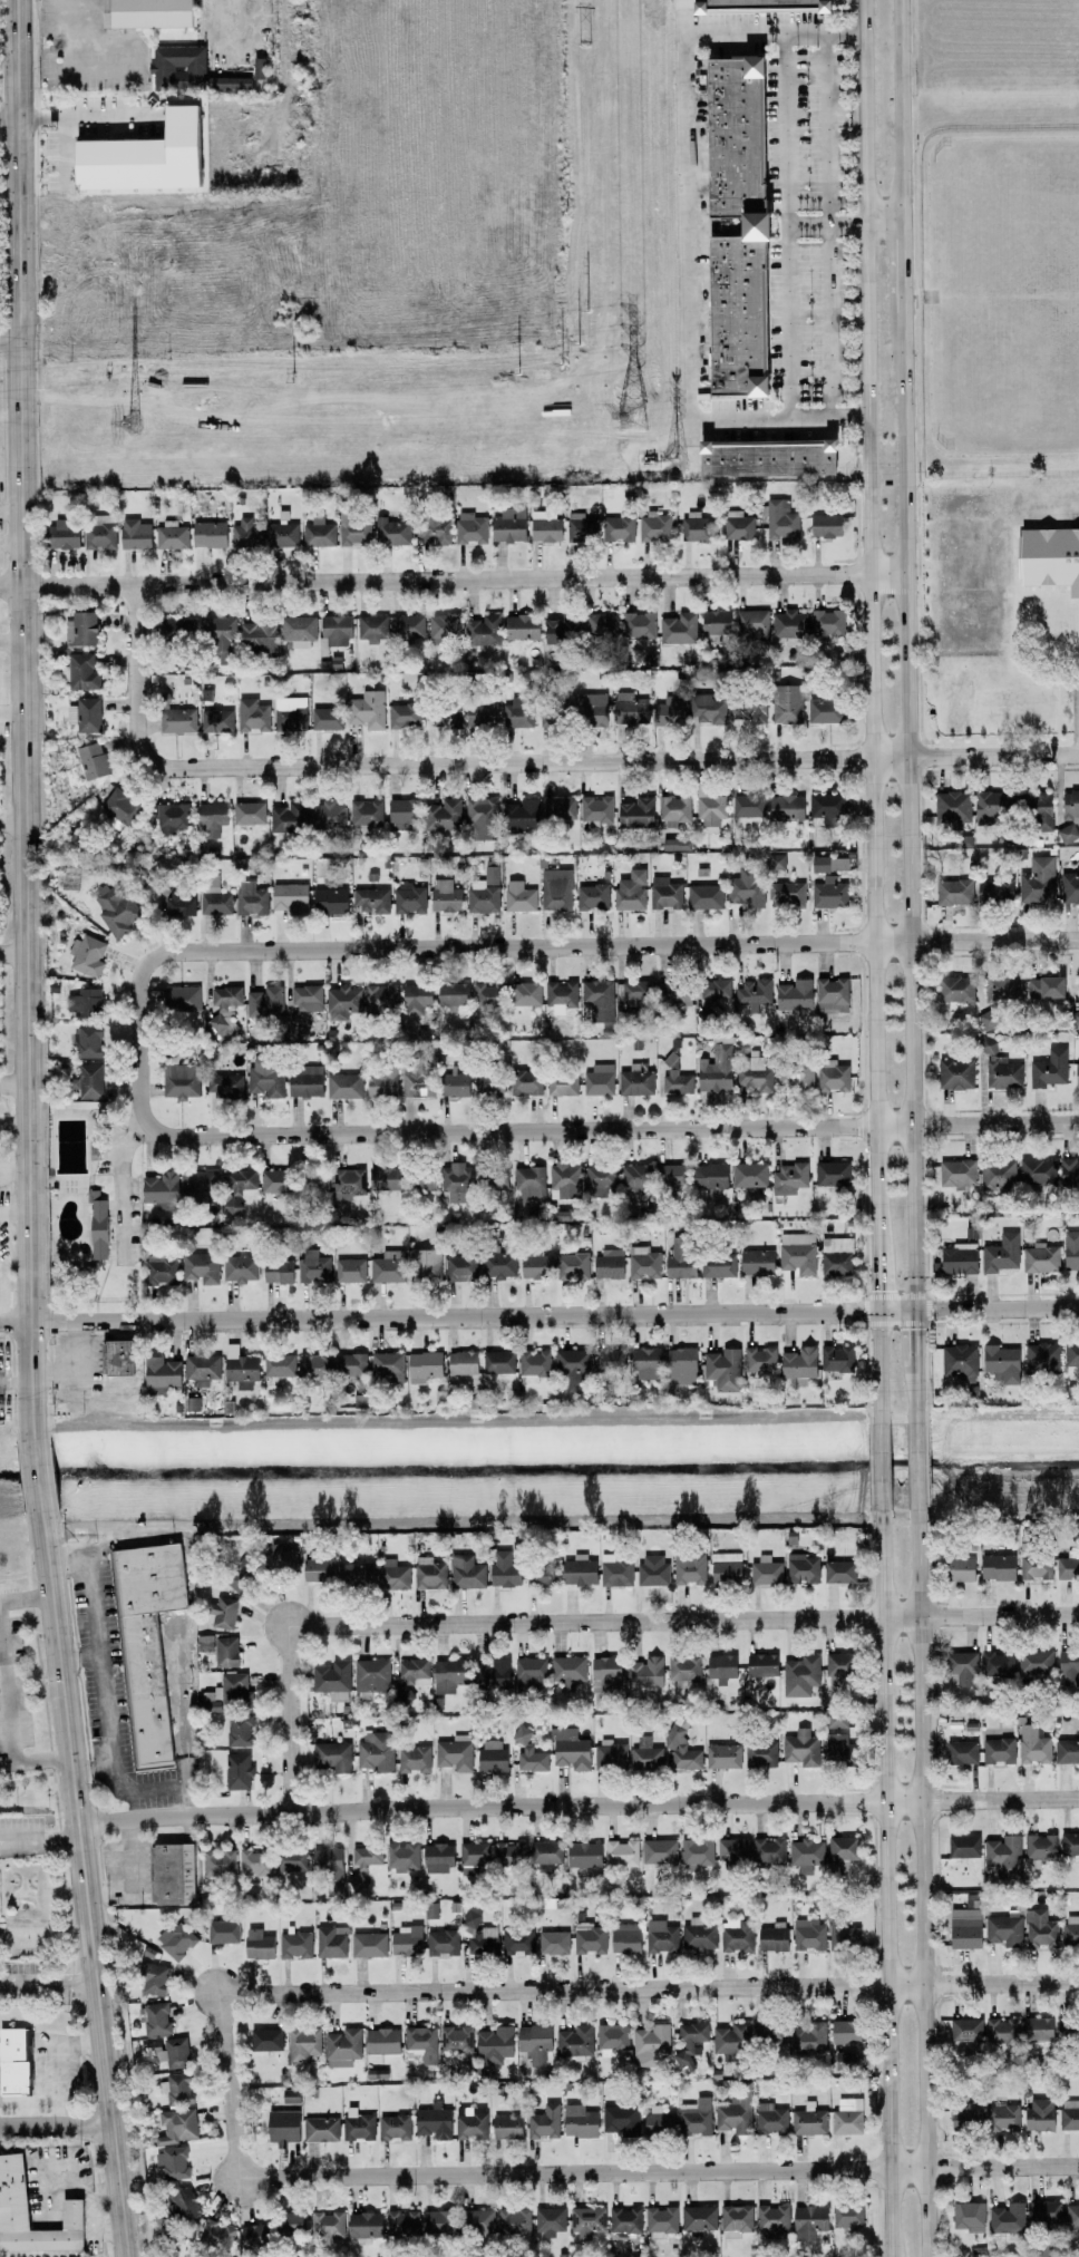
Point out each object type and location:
building: (761, 6)
building: (148, 13)
road: (61, 18)
power tower: (582, 42)
building: (178, 67)
building: (259, 67)
building: (229, 81)
road: (780, 87)
road: (901, 111)
road: (87, 116)
road: (9, 118)
road: (992, 124)
building: (124, 160)
road: (684, 178)
road: (825, 224)
road: (884, 224)
road: (903, 267)
road: (926, 295)
road: (786, 331)
road: (10, 343)
power tower: (586, 371)
power tower: (292, 380)
road: (916, 382)
power tower: (632, 414)
road: (828, 418)
power tower: (130, 424)
road: (650, 445)
power tower: (677, 456)
building: (768, 458)
building: (781, 521)
building: (509, 525)
building: (738, 525)
building: (826, 525)
building: (545, 526)
building: (431, 527)
building: (655, 527)
building: (696, 527)
building: (354, 528)
building: (470, 528)
building: (582, 528)
building: (619, 528)
building: (100, 532)
building: (319, 532)
building: (392, 532)
building: (246, 533)
building: (64, 534)
building: (135, 534)
building: (210, 534)
building: (283, 535)
building: (171, 536)
building: (1051, 557)
road: (888, 572)
road: (435, 578)
road: (892, 590)
road: (916, 591)
building: (827, 623)
building: (639, 624)
building: (716, 624)
building: (752, 624)
building: (790, 624)
road: (871, 624)
building: (601, 625)
building: (523, 626)
building: (81, 628)
building: (299, 628)
building: (371, 628)
building: (444, 628)
building: (562, 629)
building: (679, 629)
building: (177, 630)
building: (337, 630)
building: (406, 630)
building: (484, 631)
building: (259, 636)
building: (222, 639)
building: (82, 672)
building: (206, 694)
building: (787, 703)
building: (592, 708)
building: (630, 709)
building: (704, 709)
building: (367, 710)
building: (480, 710)
building: (518, 710)
building: (670, 710)
building: (826, 710)
building: (554, 712)
building: (749, 712)
building: (290, 713)
building: (85, 714)
building: (252, 714)
building: (445, 714)
building: (402, 716)
road: (23, 719)
building: (327, 719)
building: (177, 720)
building: (217, 720)
road: (923, 748)
building: (93, 760)
road: (526, 761)
building: (120, 806)
building: (748, 806)
building: (1070, 806)
building: (786, 807)
building: (988, 807)
building: (596, 808)
building: (674, 808)
building: (952, 808)
building: (826, 809)
road: (906, 809)
building: (1038, 809)
building: (558, 810)
building: (711, 810)
building: (249, 813)
building: (366, 813)
building: (402, 813)
building: (636, 813)
building: (522, 814)
building: (328, 815)
building: (443, 815)
building: (171, 817)
building: (212, 817)
building: (289, 817)
building: (483, 817)
road: (12, 823)
building: (674, 844)
building: (776, 862)
building: (829, 864)
building: (1038, 881)
building: (746, 887)
building: (1069, 887)
building: (995, 888)
building: (556, 889)
building: (485, 891)
building: (631, 891)
building: (954, 892)
building: (665, 893)
building: (786, 893)
building: (829, 893)
building: (704, 894)
building: (446, 896)
building: (518, 896)
building: (593, 896)
building: (291, 897)
building: (251, 898)
building: (410, 898)
building: (215, 899)
building: (371, 899)
building: (330, 901)
building: (178, 904)
building: (115, 908)
road: (585, 946)
road: (13, 954)
building: (88, 955)
building: (1046, 986)
building: (1002, 988)
building: (955, 989)
building: (715, 991)
building: (635, 992)
building: (453, 993)
building: (526, 993)
building: (675, 993)
building: (754, 993)
building: (795, 994)
building: (832, 994)
building: (489, 995)
building: (561, 995)
building: (416, 998)
building: (182, 999)
building: (381, 1000)
building: (596, 1001)
building: (86, 1002)
building: (342, 1002)
building: (265, 1003)
building: (304, 1003)
building: (224, 1010)
building: (1075, 1018)
building: (989, 1019)
building: (89, 1041)
building: (988, 1044)
building: (717, 1068)
building: (1049, 1068)
building: (1077, 1071)
building: (795, 1073)
building: (955, 1073)
building: (754, 1074)
building: (1004, 1074)
building: (833, 1076)
building: (265, 1078)
building: (417, 1078)
building: (675, 1078)
building: (600, 1079)
building: (90, 1080)
building: (181, 1080)
building: (305, 1080)
building: (636, 1080)
building: (383, 1082)
building: (455, 1082)
building: (526, 1082)
building: (489, 1083)
building: (563, 1083)
road: (13, 1084)
building: (225, 1086)
building: (344, 1086)
road: (558, 1129)
building: (1069, 1171)
building: (833, 1173)
building: (958, 1173)
building: (1038, 1173)
building: (672, 1175)
building: (749, 1175)
building: (998, 1175)
building: (636, 1176)
building: (710, 1176)
building: (789, 1177)
building: (385, 1178)
building: (420, 1179)
building: (493, 1179)
building: (600, 1179)
building: (276, 1180)
building: (311, 1180)
building: (349, 1180)
building: (564, 1180)
building: (200, 1181)
building: (529, 1181)
building: (457, 1183)
building: (237, 1187)
building: (161, 1189)
building: (98, 1226)
building: (832, 1245)
building: (1071, 1251)
building: (798, 1253)
building: (1002, 1254)
building: (680, 1257)
building: (1041, 1257)
building: (959, 1258)
building: (757, 1262)
building: (536, 1263)
building: (643, 1263)
building: (609, 1264)
building: (836, 1264)
building: (425, 1265)
building: (572, 1265)
building: (718, 1265)
building: (388, 1266)
building: (200, 1267)
building: (313, 1267)
building: (241, 1268)
building: (461, 1268)
building: (162, 1269)
building: (350, 1269)
building: (278, 1272)
road: (876, 1280)
road: (539, 1314)
road: (913, 1337)
building: (1071, 1353)
building: (117, 1358)
building: (1042, 1358)
building: (837, 1359)
building: (760, 1360)
building: (610, 1361)
building: (463, 1362)
building: (498, 1362)
building: (534, 1362)
building: (960, 1362)
building: (645, 1363)
building: (799, 1363)
building: (1002, 1363)
building: (279, 1364)
building: (351, 1364)
building: (315, 1365)
building: (681, 1365)
building: (387, 1366)
building: (424, 1366)
building: (573, 1366)
road: (877, 1366)
building: (241, 1368)
building: (202, 1369)
building: (723, 1369)
building: (161, 1374)
road: (915, 1394)
building: (192, 1403)
road: (877, 1468)
road: (915, 1468)
road: (37, 1477)
building: (281, 1558)
building: (998, 1566)
building: (1036, 1566)
building: (689, 1567)
building: (726, 1567)
building: (1067, 1567)
building: (803, 1568)
building: (319, 1569)
building: (504, 1569)
building: (961, 1569)
building: (579, 1570)
building: (615, 1570)
building: (653, 1570)
building: (766, 1570)
building: (467, 1572)
building: (839, 1572)
building: (242, 1573)
building: (430, 1574)
road: (26, 1575)
building: (357, 1575)
building: (393, 1575)
building: (541, 1575)
road: (27, 1598)
building: (224, 1613)
road: (591, 1621)
building: (147, 1641)
building: (205, 1642)
road: (96, 1643)
building: (226, 1651)
road: (80, 1658)
building: (1036, 1662)
building: (762, 1664)
building: (998, 1664)
building: (721, 1666)
building: (838, 1666)
building: (961, 1666)
building: (1069, 1666)
building: (684, 1667)
building: (412, 1670)
building: (567, 1671)
building: (531, 1672)
building: (607, 1672)
building: (645, 1673)
building: (449, 1674)
building: (492, 1674)
building: (372, 1675)
building: (800, 1675)
building: (332, 1680)
park: (18, 1691)
building: (405, 1692)
building: (229, 1694)
building: (837, 1720)
building: (240, 1730)
building: (521, 1735)
building: (1033, 1744)
building: (570, 1748)
building: (800, 1748)
building: (681, 1749)
building: (839, 1750)
building: (998, 1750)
building: (377, 1751)
building: (1067, 1751)
building: (455, 1752)
building: (962, 1752)
building: (610, 1753)
building: (760, 1753)
building: (647, 1754)
building: (492, 1755)
building: (723, 1755)
building: (331, 1757)
road: (7, 1758)
building: (414, 1759)
building: (532, 1759)
building: (237, 1770)
road: (37, 1776)
road: (127, 1788)
road: (580, 1808)
road: (41, 1840)
building: (1069, 1843)
building: (963, 1846)
building: (1041, 1847)
building: (843, 1848)
building: (732, 1849)
building: (768, 1850)
building: (659, 1851)
building: (697, 1851)
building: (622, 1852)
building: (511, 1854)
building: (584, 1854)
building: (546, 1855)
building: (806, 1855)
building: (367, 1856)
building: (402, 1856)
building: (1004, 1856)
building: (438, 1857)
building: (474, 1857)
building: (291, 1860)
building: (218, 1862)
building: (255, 1862)
building: (329, 1864)
road: (885, 1868)
building: (172, 1874)
building: (357, 1880)
road: (921, 1884)
road: (88, 1885)
building: (431, 1910)
building: (965, 1928)
building: (1003, 1929)
building: (1040, 1929)
building: (1070, 1930)
building: (223, 1932)
building: (737, 1934)
building: (808, 1934)
building: (479, 1935)
building: (699, 1935)
building: (661, 1936)
building: (843, 1936)
building: (625, 1937)
building: (590, 1938)
building: (772, 1938)
building: (176, 1940)
building: (407, 1940)
building: (331, 1942)
building: (518, 1942)
building: (443, 1943)
building: (554, 1943)
building: (259, 1944)
building: (369, 1944)
building: (295, 1945)
building: (154, 1978)
road: (31, 1984)
road: (81, 1984)
road: (601, 1987)
building: (156, 2018)
building: (965, 2029)
building: (1002, 2030)
building: (769, 2032)
building: (846, 2032)
building: (692, 2033)
building: (1038, 2035)
building: (612, 2036)
building: (730, 2037)
building: (265, 2039)
building: (808, 2039)
building: (382, 2040)
building: (457, 2040)
building: (575, 2041)
building: (535, 2042)
building: (304, 2044)
building: (421, 2044)
building: (651, 2044)
building: (494, 2045)
building: (342, 2046)
building: (176, 2052)
road: (37, 2053)
building: (13, 2060)
building: (378, 2073)
road: (60, 2084)
building: (178, 2089)
building: (291, 2095)
road: (13, 2102)
building: (736, 2111)
building: (1040, 2113)
building: (1069, 2114)
building: (696, 2117)
building: (847, 2117)
building: (1003, 2117)
building: (770, 2118)
building: (964, 2118)
building: (622, 2120)
building: (659, 2120)
building: (434, 2121)
building: (580, 2121)
building: (809, 2121)
building: (472, 2122)
building: (545, 2122)
building: (358, 2124)
road: (57, 2125)
building: (177, 2125)
building: (283, 2127)
building: (395, 2127)
building: (507, 2127)
building: (321, 2129)
building: (173, 2162)
road: (614, 2170)
building: (182, 2205)
building: (1046, 2211)
building: (13, 2214)
building: (847, 2215)
building: (969, 2215)
building: (1072, 2216)
building: (699, 2217)
building: (737, 2217)
building: (1008, 2218)
building: (550, 2219)
building: (478, 2220)
building: (661, 2220)
building: (439, 2221)
building: (514, 2221)
building: (587, 2221)
building: (772, 2221)
building: (808, 2221)
building: (624, 2222)
building: (293, 2224)
building: (327, 2224)
building: (402, 2224)
building: (364, 2225)
building: (216, 2235)
building: (255, 2236)
road: (890, 2241)

